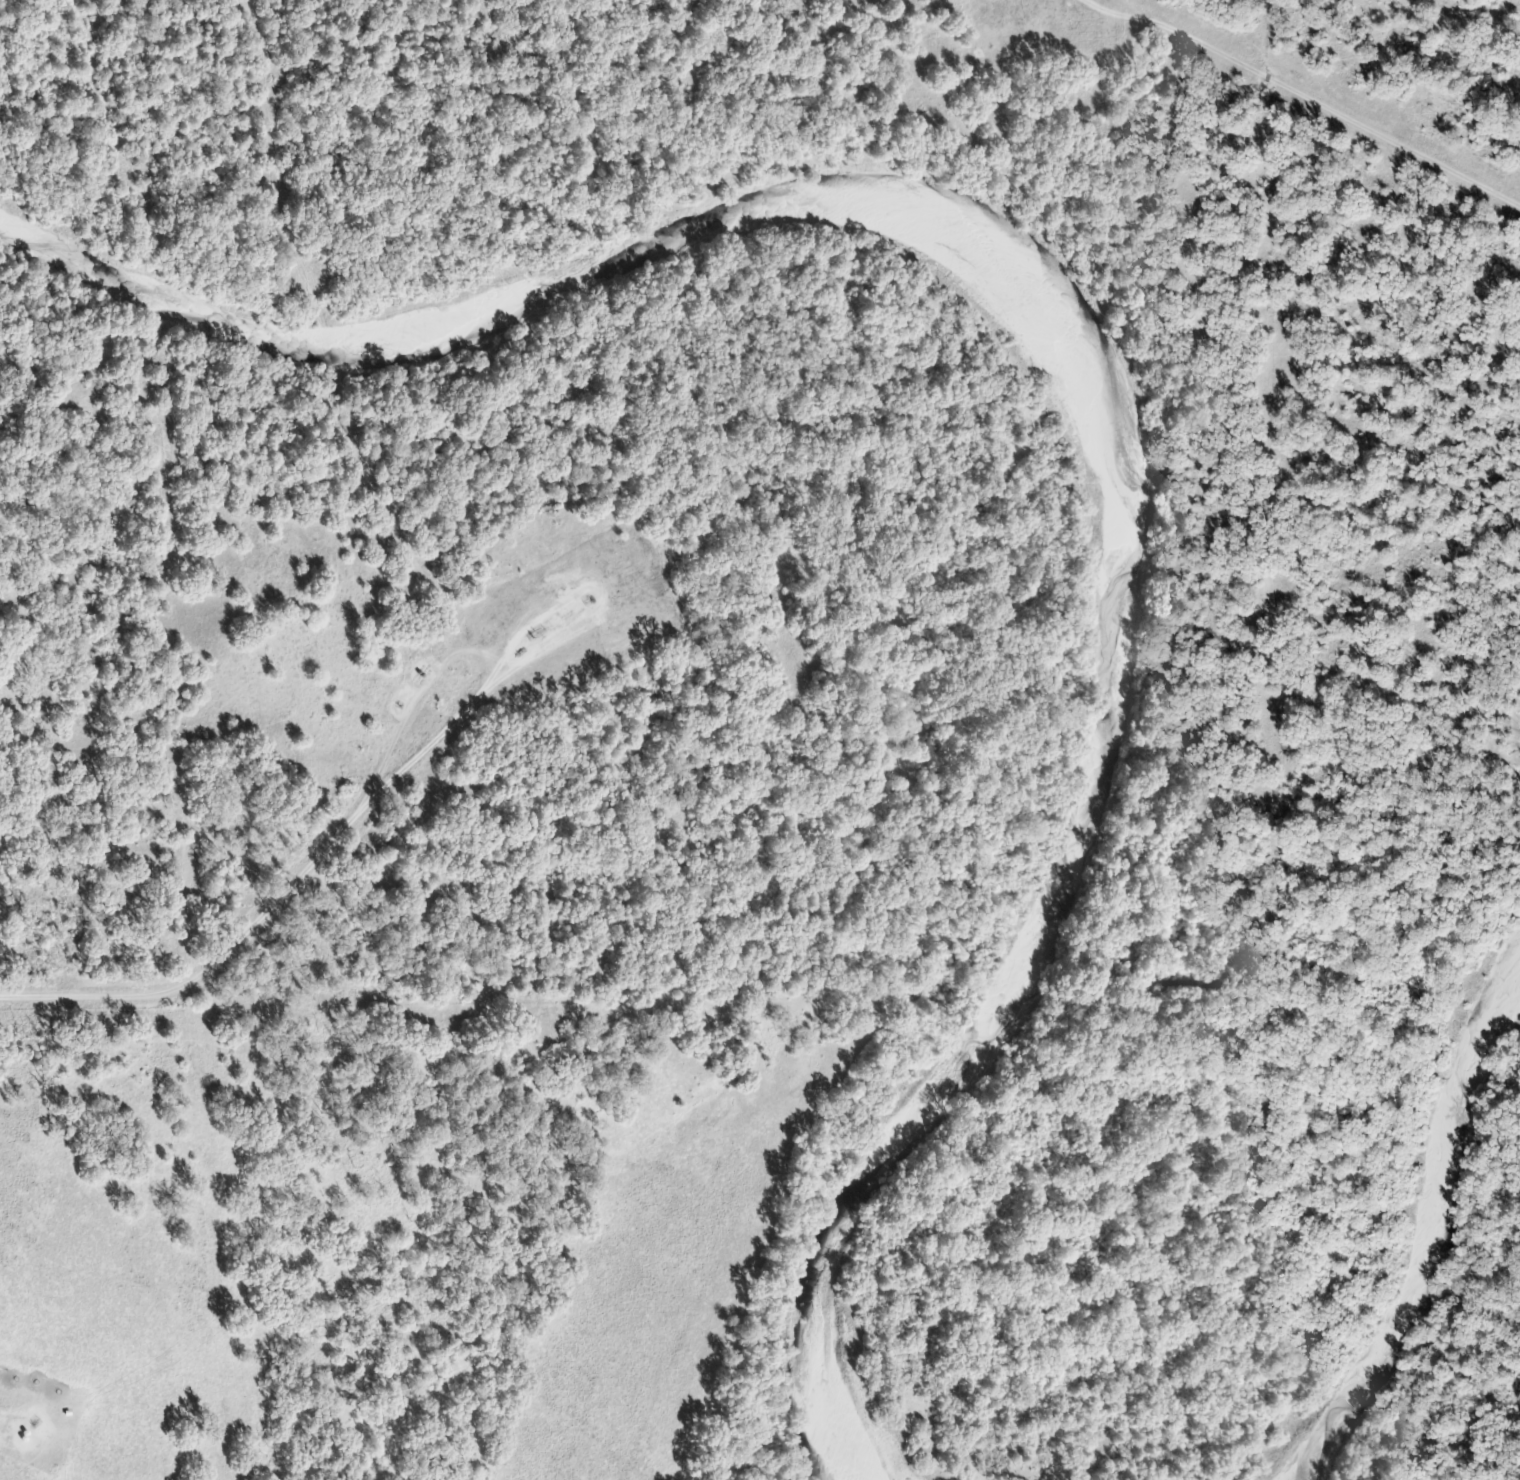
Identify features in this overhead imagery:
road: (1313, 104)
road: (446, 664)
road: (218, 964)

